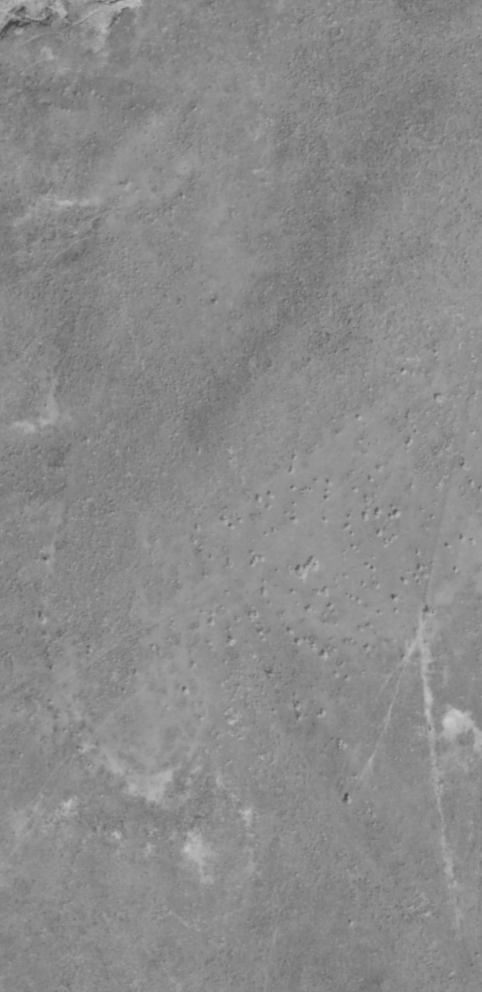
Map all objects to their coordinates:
road: (481, 307)
road: (421, 761)

